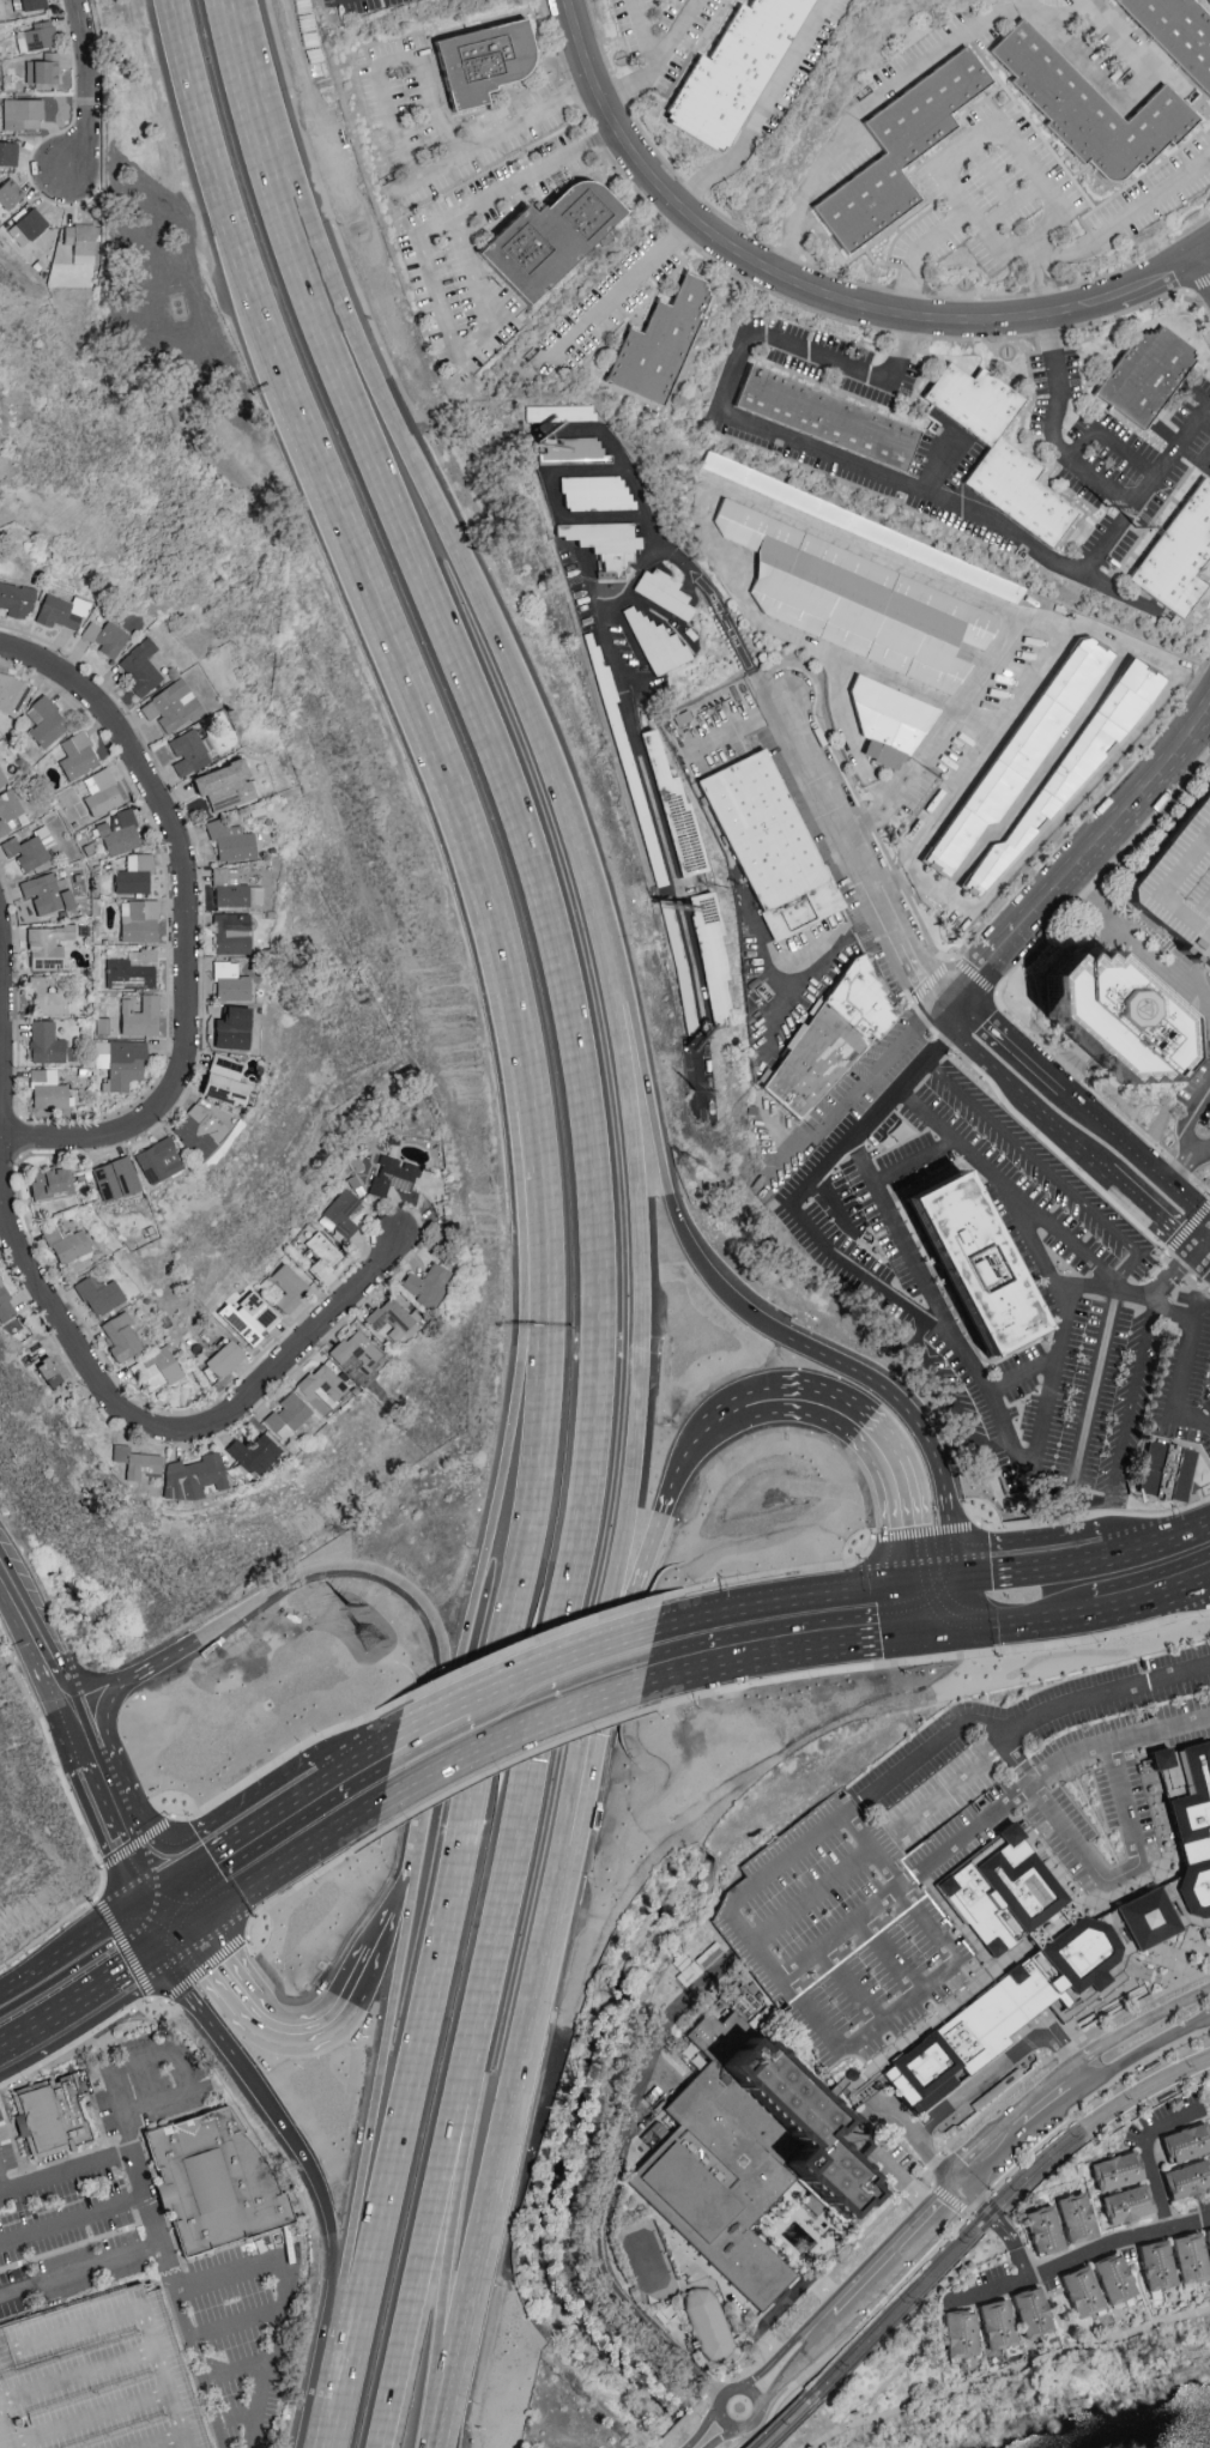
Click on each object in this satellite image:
road: (1042, 2)
building: (34, 4)
building: (1179, 30)
building: (37, 35)
road: (676, 35)
road: (242, 49)
road: (653, 60)
building: (43, 69)
building: (495, 71)
building: (743, 75)
road: (1173, 75)
road: (428, 77)
road: (95, 89)
road: (1124, 98)
road: (866, 107)
road: (767, 109)
building: (23, 113)
building: (757, 115)
building: (1096, 115)
road: (986, 127)
road: (635, 139)
building: (8, 151)
building: (906, 159)
road: (992, 170)
road: (220, 174)
building: (11, 192)
road: (1015, 201)
park: (988, 210)
building: (29, 225)
road: (1097, 232)
building: (81, 236)
building: (556, 246)
road: (916, 249)
road: (1209, 252)
road: (1209, 254)
road: (470, 273)
road: (621, 288)
road: (974, 322)
building: (663, 341)
building: (1152, 382)
road: (1205, 412)
building: (557, 416)
road: (733, 421)
building: (831, 424)
road: (1048, 431)
road: (1106, 437)
road: (407, 449)
building: (575, 451)
road: (1193, 457)
building: (1005, 458)
road: (937, 460)
road: (630, 480)
road: (1144, 484)
building: (595, 491)
road: (557, 502)
power tower: (1106, 506)
building: (860, 524)
power tower: (1138, 527)
road: (853, 540)
building: (606, 544)
building: (1182, 561)
building: (857, 573)
road: (1085, 579)
road: (589, 586)
building: (664, 592)
building: (16, 599)
building: (61, 610)
building: (859, 634)
building: (107, 636)
building: (657, 641)
road: (30, 659)
building: (141, 666)
building: (12, 694)
building: (173, 706)
building: (889, 719)
building: (47, 721)
road: (631, 724)
road: (733, 726)
building: (1018, 748)
building: (190, 751)
road: (442, 754)
building: (78, 755)
building: (627, 756)
building: (1069, 761)
road: (861, 766)
building: (2, 778)
building: (228, 784)
building: (102, 791)
building: (673, 809)
building: (8, 810)
building: (120, 832)
building: (232, 840)
building: (770, 842)
building: (30, 847)
road: (1082, 859)
road: (859, 862)
building: (135, 874)
building: (1180, 885)
parking lot: (1180, 885)
building: (235, 888)
building: (48, 893)
building: (140, 920)
building: (232, 932)
road: (561, 941)
building: (49, 945)
building: (710, 954)
road: (188, 957)
building: (678, 961)
building: (133, 968)
building: (231, 983)
road: (795, 989)
road: (1202, 993)
building: (47, 998)
building: (140, 1016)
building: (1115, 1017)
building: (232, 1028)
building: (47, 1042)
road: (1009, 1044)
building: (836, 1045)
road: (981, 1053)
building: (121, 1062)
building: (226, 1080)
road: (648, 1082)
road: (859, 1086)
building: (48, 1088)
power tower: (694, 1094)
road: (1193, 1105)
road: (933, 1120)
building: (206, 1128)
road: (776, 1129)
road: (1064, 1129)
road: (1193, 1142)
road: (1133, 1154)
building: (159, 1160)
power tower: (689, 1162)
road: (1182, 1165)
road: (1047, 1171)
road: (891, 1173)
building: (395, 1174)
building: (117, 1178)
building: (53, 1181)
road: (836, 1205)
road: (1147, 1205)
building: (343, 1213)
road: (1208, 1219)
road: (1022, 1222)
road: (1208, 1222)
road: (640, 1225)
road: (1198, 1231)
building: (67, 1243)
road: (1075, 1245)
road: (1198, 1247)
traffic signals: (1198, 1247)
road: (827, 1250)
road: (1208, 1251)
building: (322, 1255)
road: (1208, 1255)
road: (909, 1258)
building: (975, 1262)
building: (426, 1283)
building: (289, 1286)
road: (1099, 1289)
building: (101, 1294)
road: (1137, 1298)
building: (6, 1304)
road: (1182, 1308)
building: (252, 1317)
building: (391, 1318)
building: (122, 1336)
road: (77, 1342)
building: (359, 1356)
building: (226, 1358)
road: (1186, 1365)
building: (159, 1368)
road: (1021, 1371)
building: (325, 1383)
road: (1051, 1383)
road: (878, 1386)
road: (1097, 1394)
road: (1132, 1402)
building: (289, 1415)
road: (726, 1420)
road: (1193, 1420)
road: (508, 1449)
road: (881, 1449)
building: (256, 1452)
building: (138, 1461)
building: (194, 1476)
building: (1164, 1476)
road: (1048, 1486)
road: (1094, 1497)
building: (1034, 1529)
road: (945, 1535)
road: (649, 1540)
road: (1181, 1541)
road: (1130, 1558)
road: (391, 1576)
road: (1016, 1579)
road: (1205, 1579)
traffic signals: (924, 1595)
road: (1162, 1596)
road: (915, 1604)
power tower: (346, 1607)
road: (785, 1612)
traffic signals: (907, 1614)
road: (1052, 1621)
road: (945, 1622)
road: (769, 1634)
road: (906, 1638)
power tower: (373, 1639)
road: (806, 1649)
road: (752, 1658)
road: (156, 1661)
road: (552, 1668)
road: (680, 1673)
parking lot: (1111, 1691)
road: (593, 1694)
road: (449, 1716)
road: (1037, 1718)
road: (77, 1731)
road: (370, 1734)
road: (412, 1734)
parking lot: (1124, 1735)
road: (1114, 1741)
road: (464, 1751)
parking lot: (934, 1771)
road: (138, 1778)
road: (289, 1809)
road: (428, 1812)
road: (468, 1819)
parking lot: (1063, 1830)
building: (1193, 1830)
road: (315, 1840)
road: (1121, 1874)
road: (903, 1881)
road: (170, 1887)
road: (812, 1898)
traffic signals: (152, 1899)
road: (216, 1904)
road: (168, 1911)
road: (405, 1917)
building: (1145, 1917)
road: (158, 1918)
parking lot: (855, 1921)
road: (174, 1930)
road: (397, 1939)
road: (77, 1948)
road: (887, 1954)
road: (761, 1957)
road: (128, 1962)
road: (207, 1962)
road: (183, 1965)
building: (1055, 1972)
road: (380, 1981)
road: (847, 1985)
road: (83, 1990)
road: (37, 2019)
road: (222, 2021)
road: (1139, 2025)
road: (345, 2029)
road: (265, 2035)
road: (518, 2051)
road: (1147, 2054)
road: (150, 2059)
road: (999, 2062)
parking lot: (150, 2084)
road: (1053, 2099)
railway: (1072, 2114)
road: (865, 2117)
building: (50, 2120)
railway: (1076, 2128)
road: (447, 2136)
road: (466, 2136)
railway: (1079, 2138)
railway: (1089, 2138)
building: (1188, 2141)
road: (993, 2153)
building: (748, 2154)
road: (1147, 2156)
parking lot: (2, 2169)
building: (1120, 2170)
road: (362, 2171)
building: (1188, 2178)
building: (217, 2184)
road: (1, 2188)
road: (609, 2196)
building: (1131, 2202)
building: (1081, 2217)
road: (73, 2219)
road: (1004, 2225)
road: (331, 2228)
building: (1047, 2229)
building: (1209, 2231)
road: (157, 2232)
parking lot: (71, 2242)
road: (897, 2248)
road: (1082, 2255)
building: (1193, 2255)
building: (1161, 2263)
road: (80, 2273)
building: (1118, 2277)
building: (1085, 2290)
park: (673, 2291)
road: (284, 2295)
building: (1035, 2310)
railway: (887, 2311)
road: (922, 2313)
railway: (894, 2319)
building: (709, 2321)
building: (999, 2323)
road: (821, 2326)
road: (236, 2327)
parking lot: (244, 2332)
building: (963, 2333)
road: (806, 2338)
road: (237, 2370)
road: (1009, 2370)
building: (98, 2377)
parking lot: (98, 2377)
road: (727, 2392)
road: (237, 2418)
railway: (781, 2419)
railway: (792, 2423)
road: (703, 2428)
road: (724, 2437)
road: (309, 2438)

